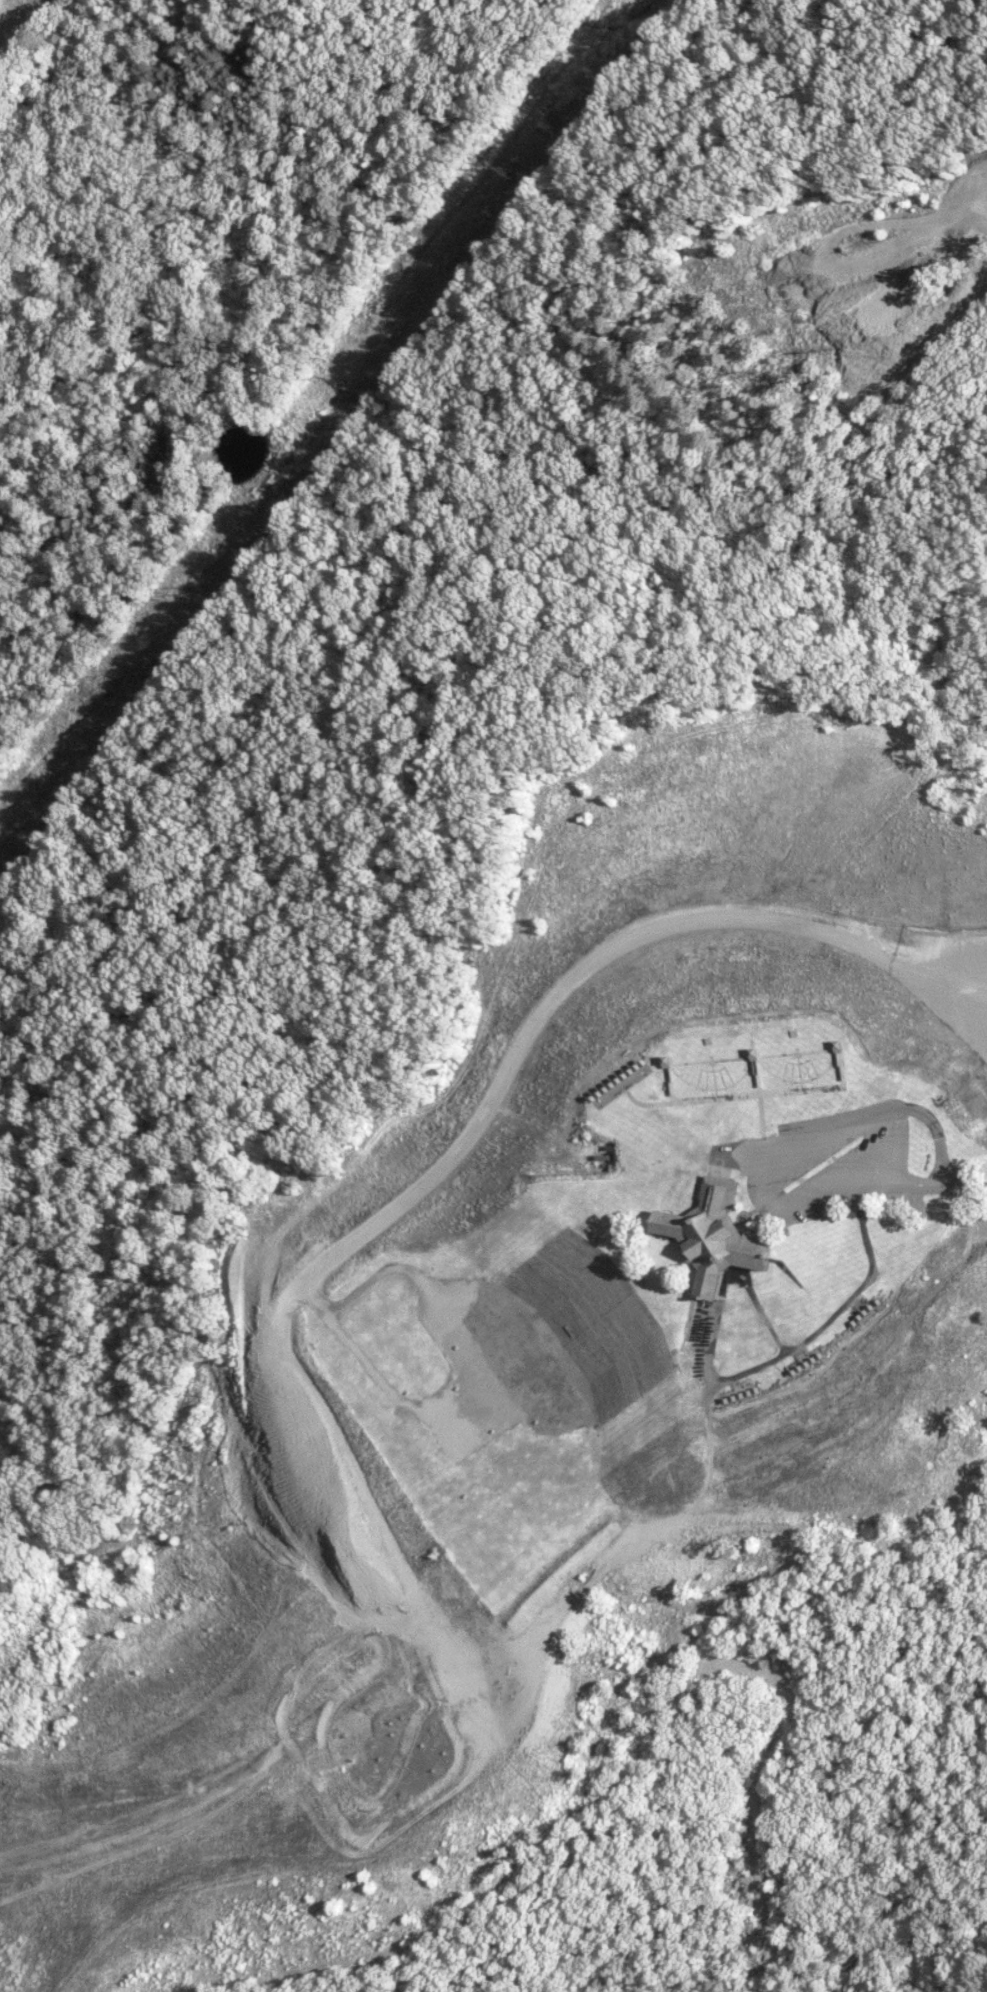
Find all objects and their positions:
power tower: (508, 168)
power tower: (183, 593)
road: (776, 1158)
road: (962, 1186)
building: (712, 1235)
building: (439, 1260)

